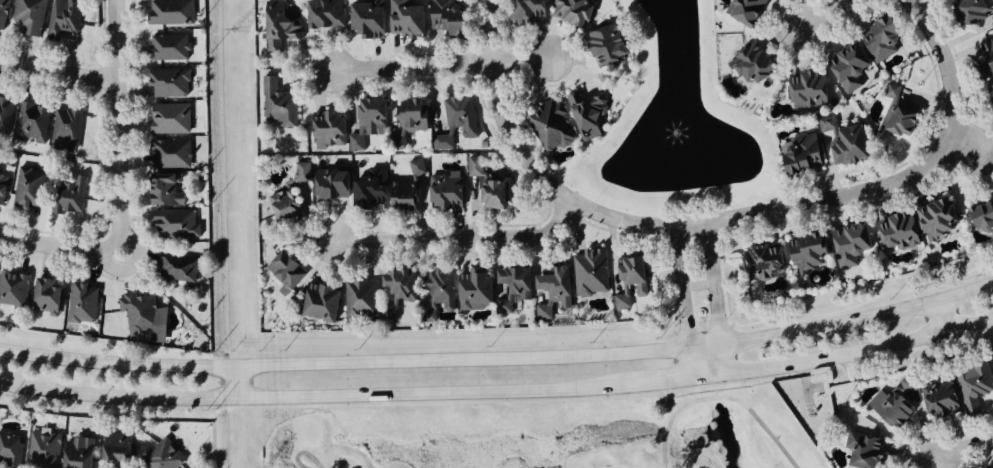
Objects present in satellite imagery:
building: (523, 10)
building: (567, 11)
building: (741, 11)
building: (970, 11)
building: (4, 12)
building: (173, 12)
road: (828, 13)
building: (329, 14)
building: (31, 16)
building: (65, 18)
building: (453, 18)
building: (373, 20)
building: (410, 20)
building: (282, 25)
power tower: (238, 31)
building: (877, 40)
building: (600, 45)
building: (171, 48)
building: (984, 58)
building: (747, 64)
road: (439, 67)
building: (844, 67)
road: (58, 74)
road: (950, 78)
building: (171, 83)
building: (805, 90)
building: (281, 104)
road: (501, 112)
building: (5, 114)
building: (584, 114)
building: (894, 116)
building: (172, 119)
building: (405, 119)
road: (118, 121)
building: (455, 121)
building: (365, 122)
building: (33, 123)
building: (547, 125)
building: (66, 129)
building: (325, 130)
building: (840, 142)
road: (969, 144)
building: (173, 154)
building: (797, 156)
building: (415, 168)
building: (303, 171)
building: (486, 186)
building: (4, 187)
building: (31, 189)
building: (169, 190)
building: (442, 191)
building: (72, 196)
building: (282, 208)
road: (753, 214)
building: (979, 218)
building: (931, 219)
building: (178, 223)
building: (893, 232)
road: (458, 239)
road: (57, 244)
building: (847, 244)
road: (136, 245)
building: (803, 252)
building: (760, 261)
road: (111, 266)
building: (181, 266)
building: (282, 272)
building: (588, 272)
building: (626, 280)
building: (509, 284)
road: (712, 284)
road: (697, 287)
road: (681, 288)
building: (14, 289)
building: (549, 291)
building: (451, 292)
building: (377, 295)
building: (51, 296)
building: (84, 302)
building: (316, 303)
building: (146, 316)
road: (940, 317)
road: (858, 320)
road: (705, 346)
road: (859, 352)
road: (722, 360)
road: (692, 363)
road: (344, 364)
building: (991, 367)
road: (676, 380)
road: (232, 383)
building: (971, 386)
road: (313, 397)
road: (722, 397)
building: (935, 400)
building: (887, 409)
park: (557, 435)
building: (11, 449)
building: (45, 449)
building: (859, 449)
building: (121, 450)
building: (82, 453)
road: (302, 454)
road: (961, 454)
building: (165, 455)
road: (930, 466)

